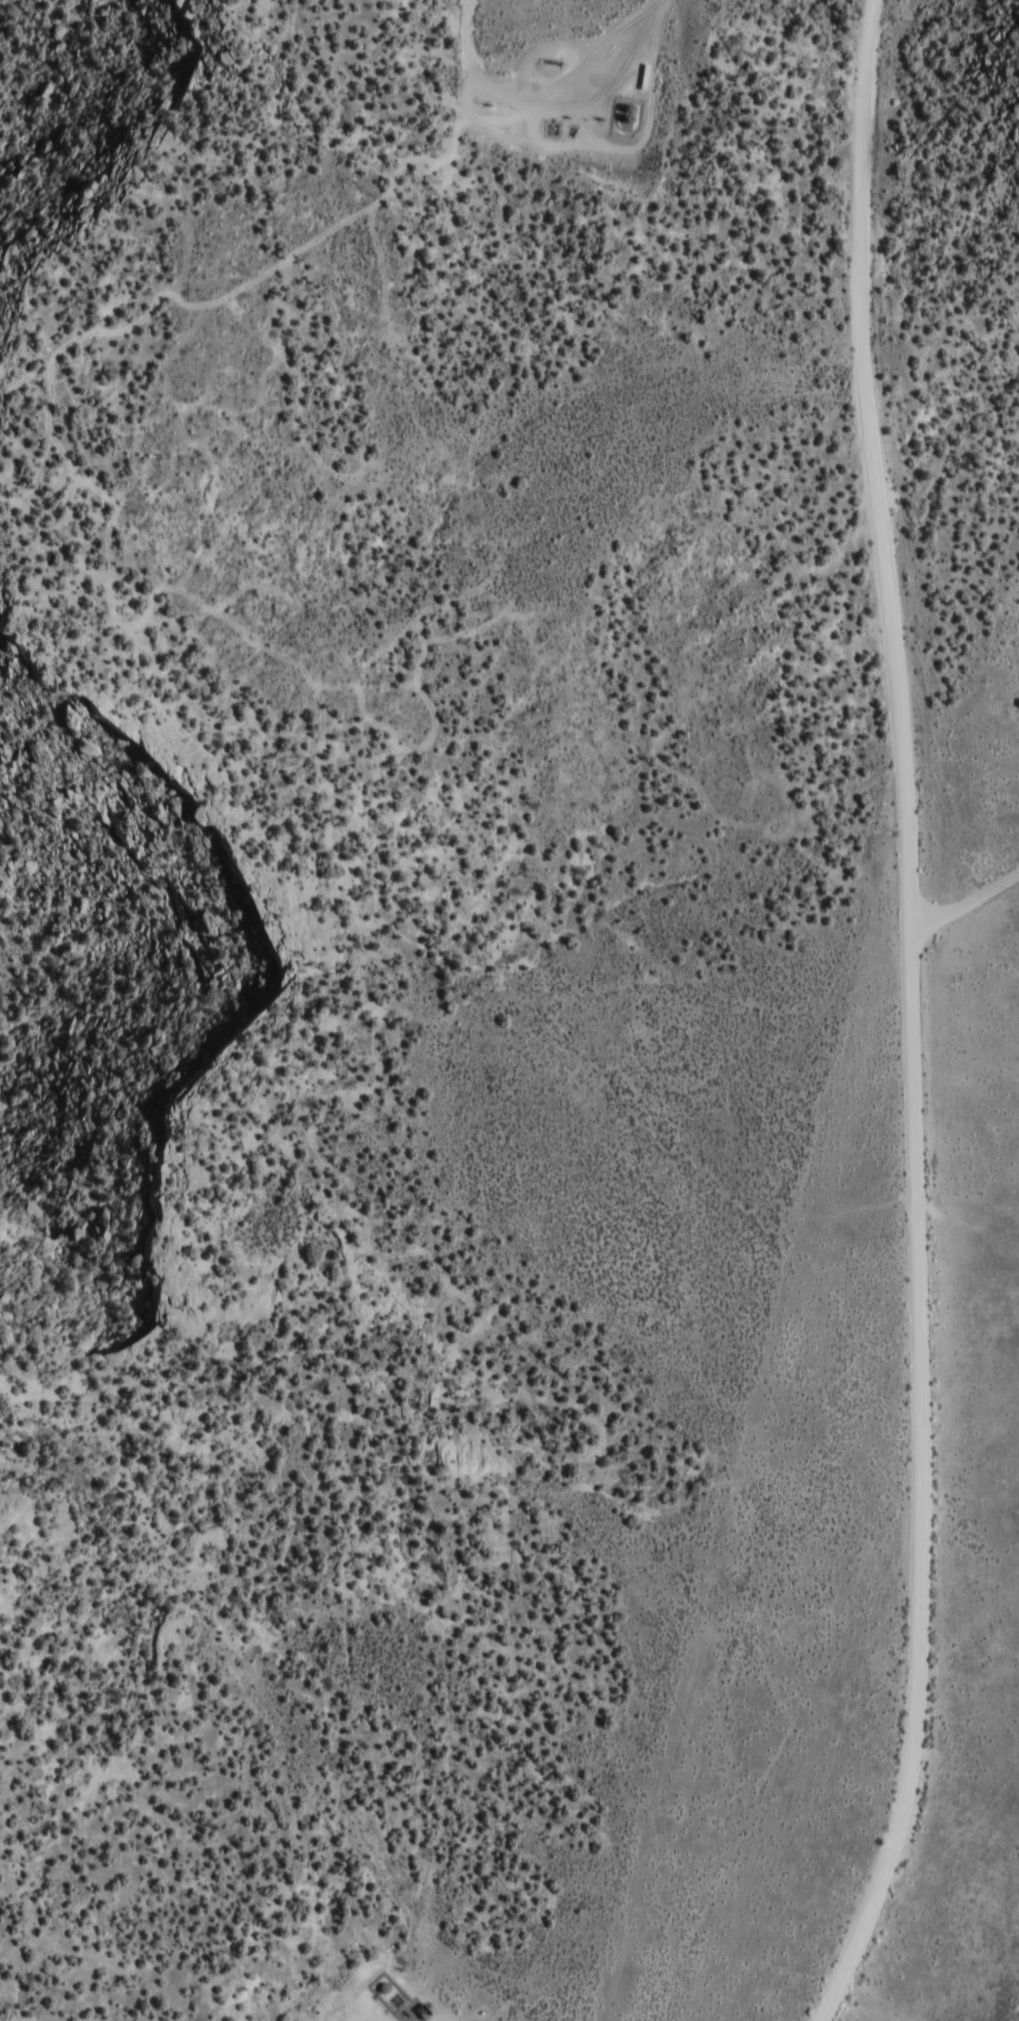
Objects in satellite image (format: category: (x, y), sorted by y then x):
building: (627, 117)
road: (957, 877)
road: (893, 1018)

